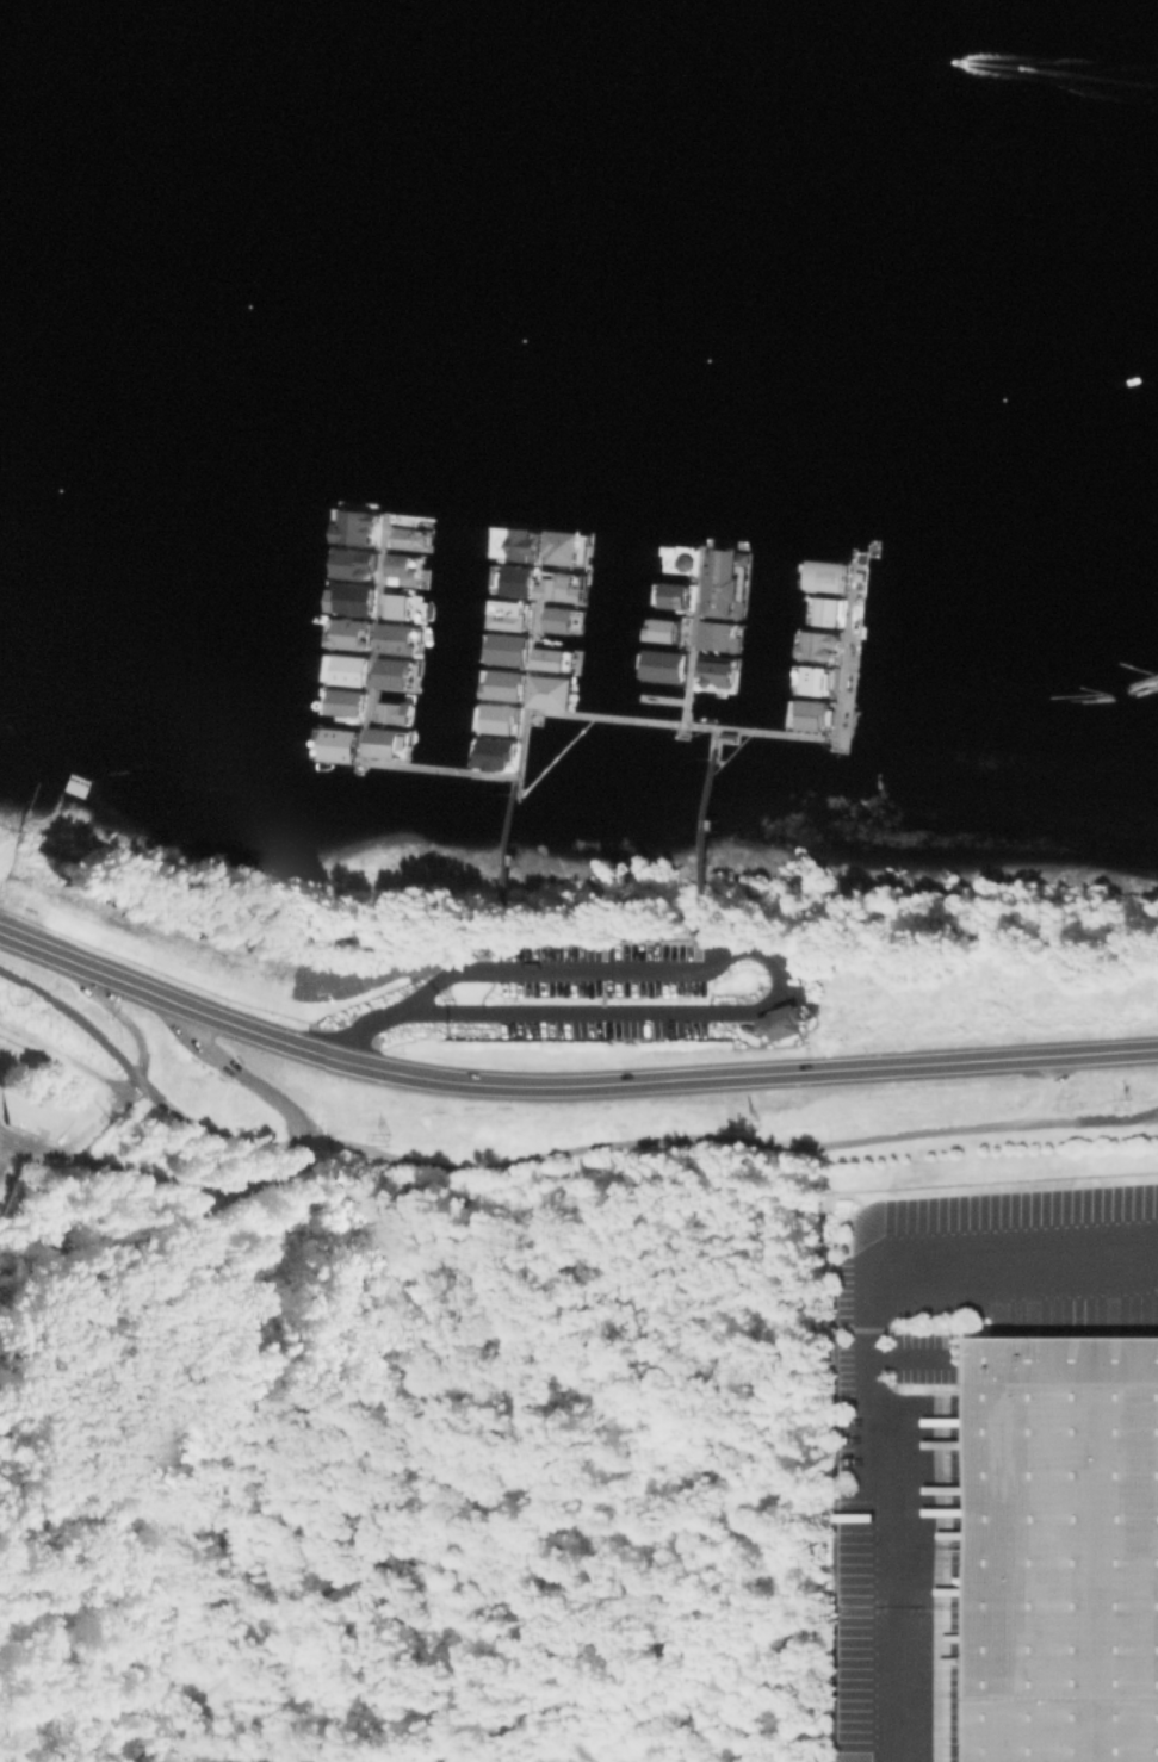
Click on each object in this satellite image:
building: (559, 546)
building: (825, 577)
building: (515, 581)
building: (723, 585)
building: (559, 587)
building: (674, 595)
building: (348, 597)
building: (394, 604)
building: (826, 610)
building: (506, 614)
building: (556, 619)
building: (659, 629)
building: (348, 633)
pier: (691, 633)
building: (714, 635)
building: (392, 638)
building: (506, 649)
pier: (527, 651)
building: (550, 658)
building: (813, 662)
building: (663, 664)
building: (346, 670)
building: (389, 672)
building: (724, 672)
building: (503, 684)
building: (550, 691)
building: (341, 702)
building: (813, 714)
building: (500, 718)
pier: (772, 730)
building: (382, 742)
building: (338, 744)
building: (496, 753)
pier: (398, 763)
pier: (705, 832)
road: (91, 969)
road: (776, 973)
road: (435, 982)
road: (403, 1012)
building: (782, 1024)
road: (361, 1029)
road: (73, 1059)
road: (248, 1080)
road: (664, 1080)
road: (547, 1154)
road: (885, 1378)
building: (1063, 1549)

